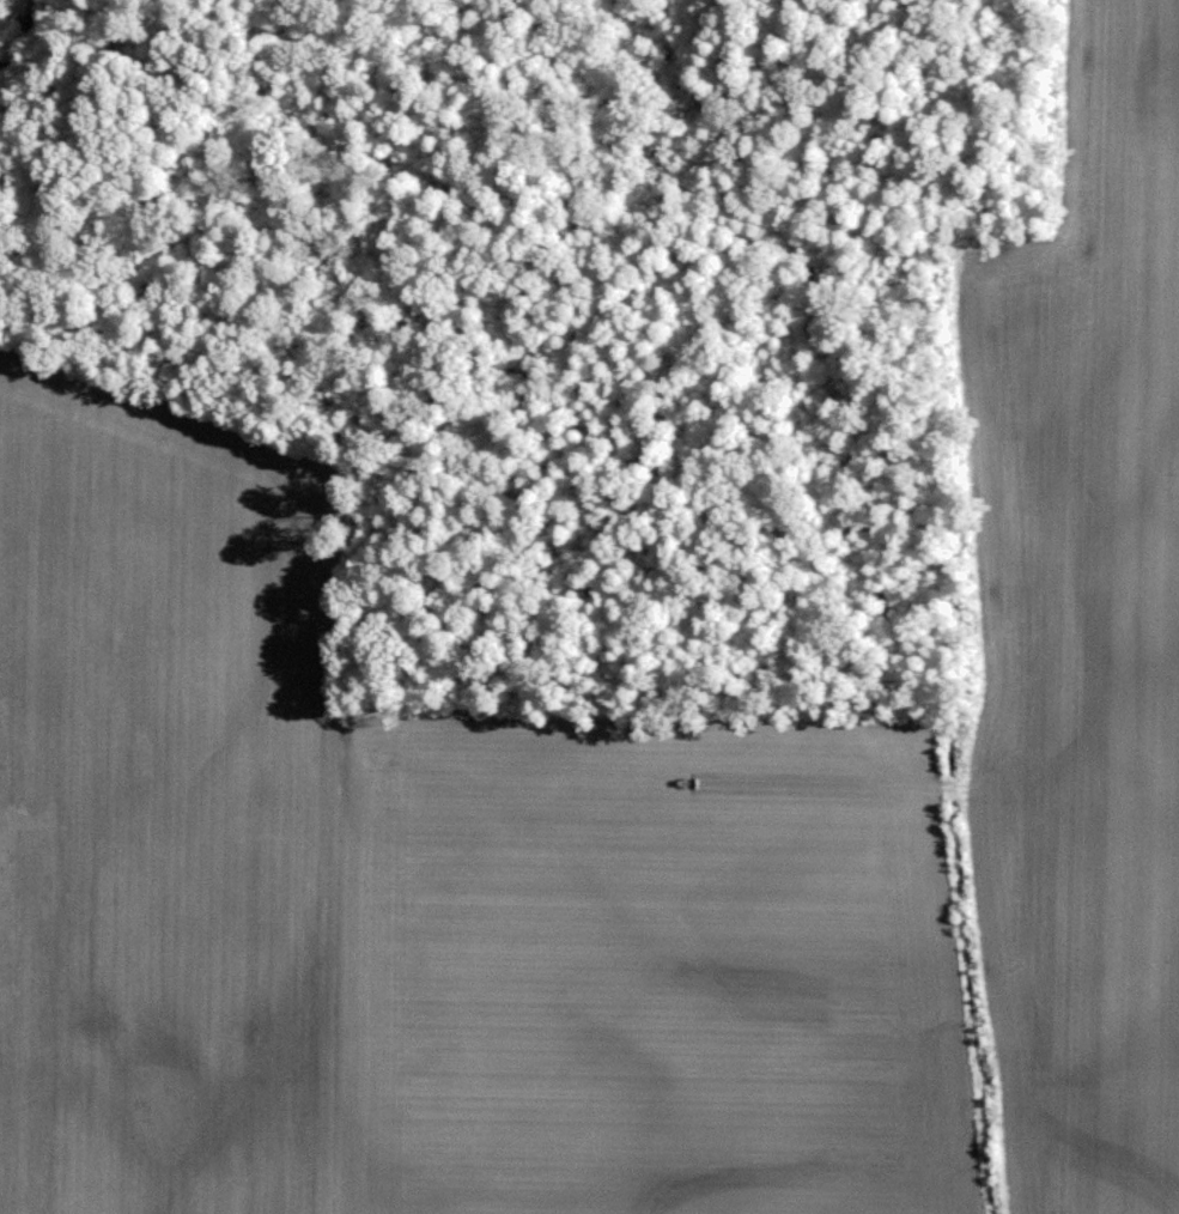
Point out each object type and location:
river: (23, 35)

